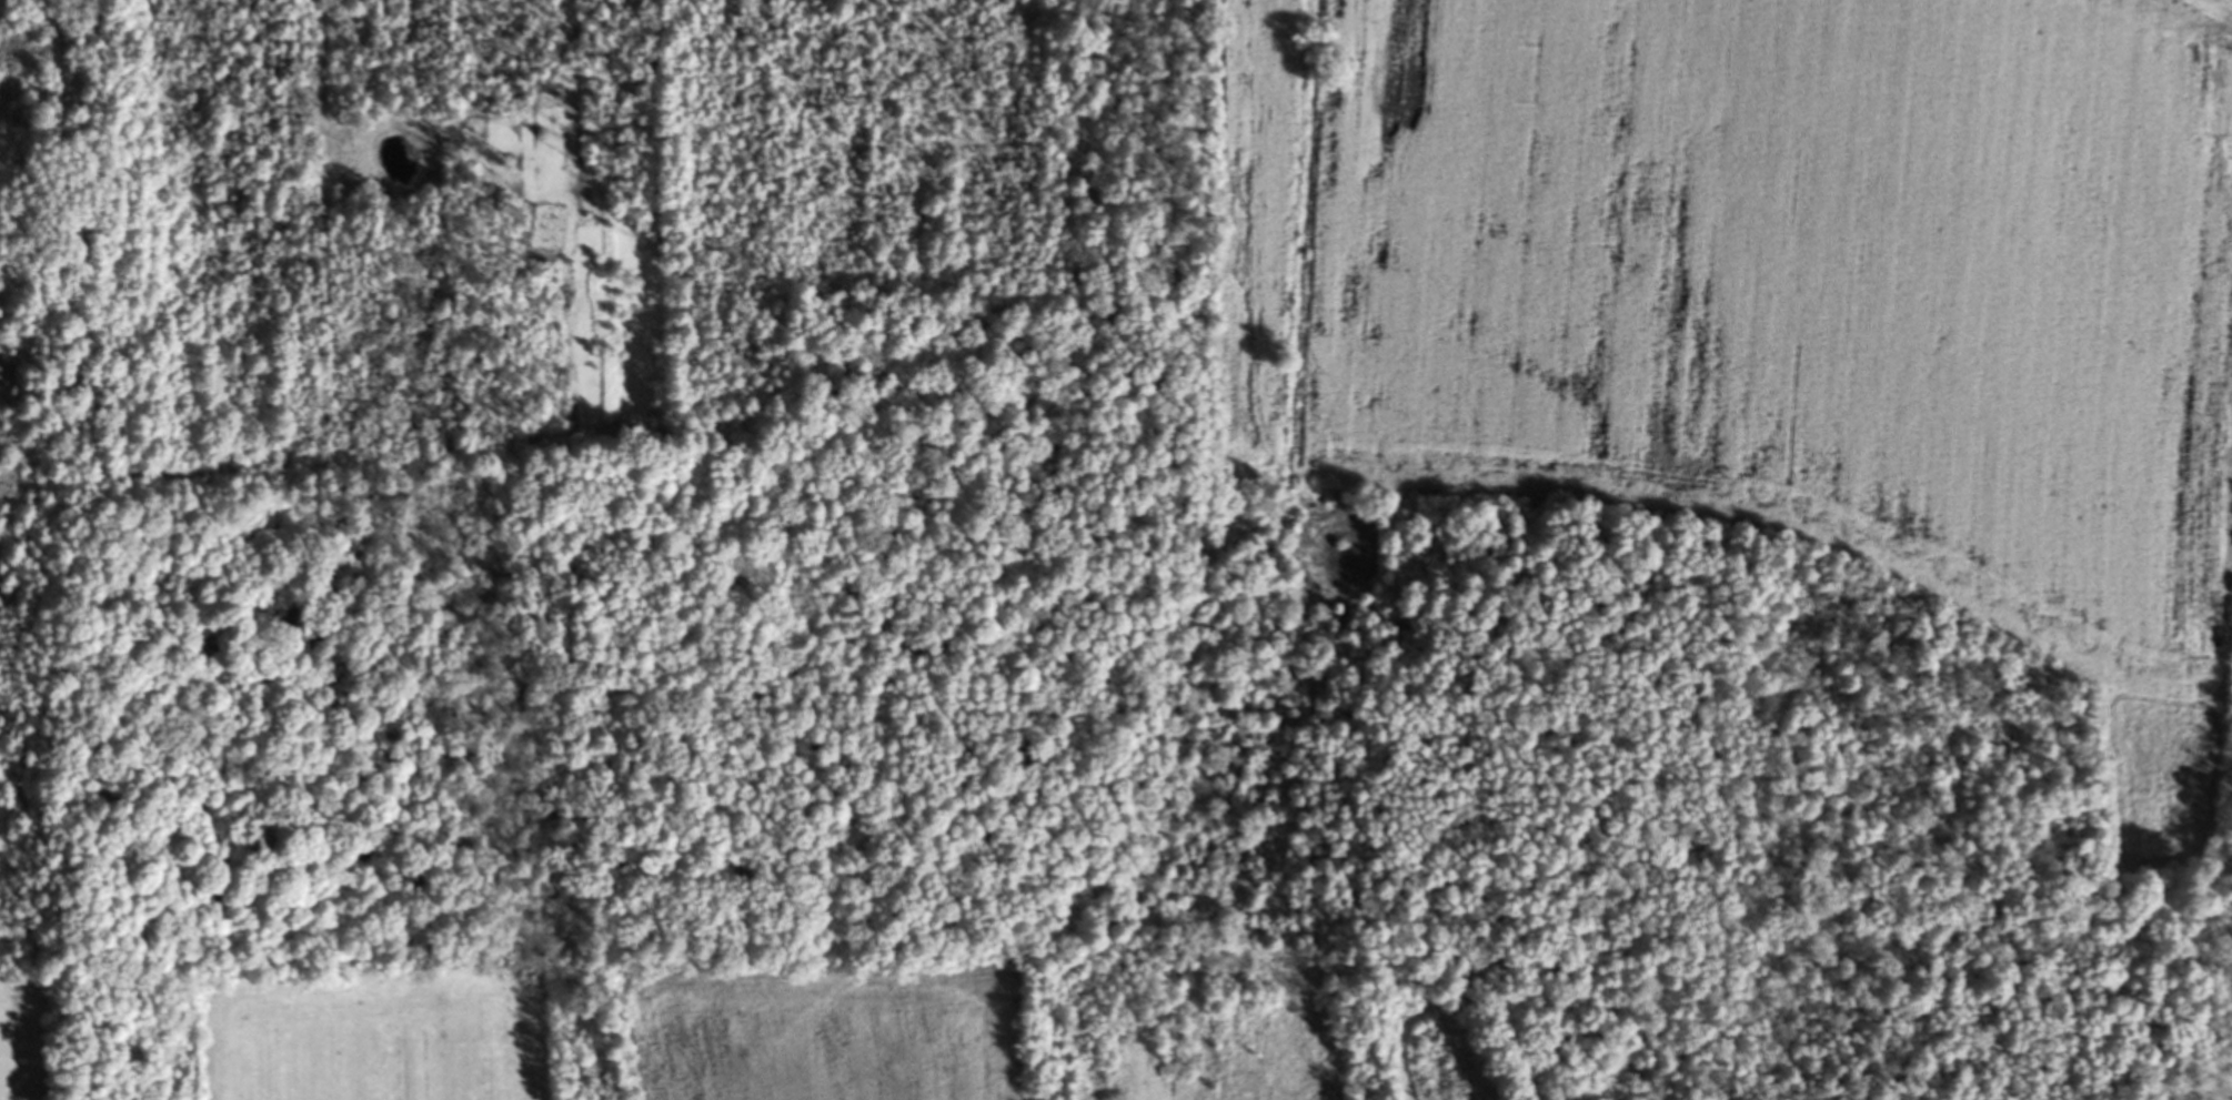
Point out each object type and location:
road: (323, 203)
road: (656, 212)
road: (1783, 270)

